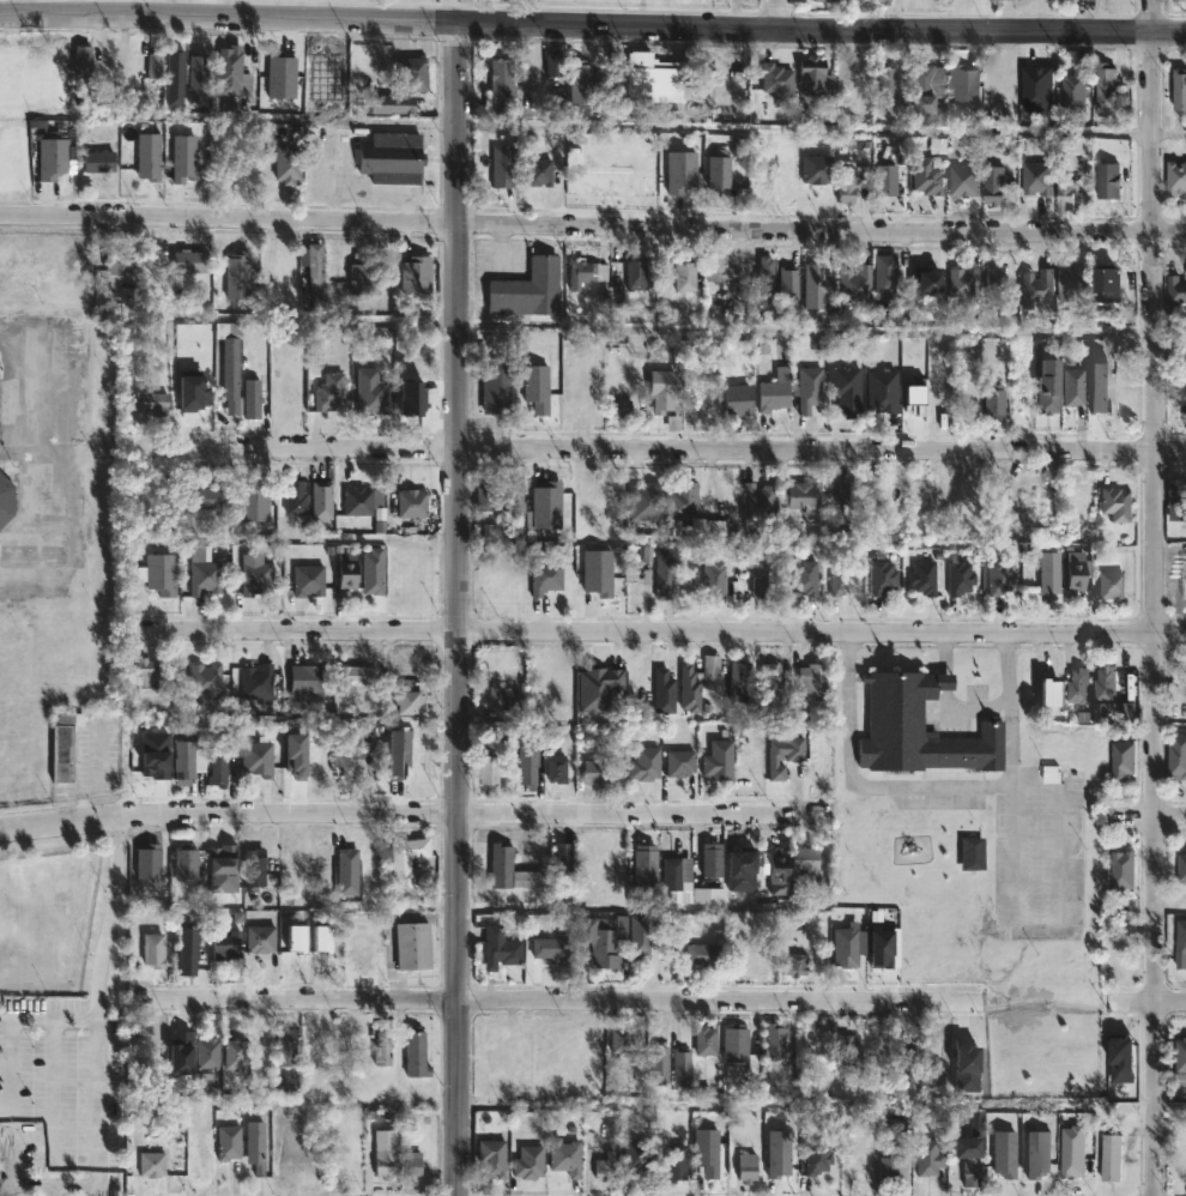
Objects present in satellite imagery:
building: (998, 0)
building: (1180, 0)
building: (829, 1)
building: (884, 2)
road: (24, 6)
road: (102, 6)
road: (140, 6)
road: (736, 14)
road: (777, 14)
road: (592, 24)
building: (81, 59)
building: (114, 59)
building: (156, 62)
building: (553, 62)
building: (234, 71)
building: (283, 72)
building: (327, 72)
building: (818, 75)
building: (176, 77)
building: (415, 77)
building: (652, 77)
building: (198, 78)
building: (585, 80)
building: (889, 83)
building: (967, 84)
building: (1033, 86)
building: (1102, 86)
building: (502, 87)
building: (1178, 87)
building: (1071, 90)
building: (931, 91)
building: (392, 103)
road: (1168, 133)
building: (149, 156)
building: (52, 157)
building: (184, 157)
building: (393, 157)
building: (99, 161)
building: (289, 163)
building: (504, 165)
parking lot: (346, 168)
building: (821, 168)
building: (677, 169)
parking lot: (606, 170)
building: (540, 171)
building: (721, 171)
building: (925, 175)
building: (891, 177)
building: (1034, 177)
building: (1174, 177)
building: (1103, 180)
building: (962, 181)
building: (849, 182)
building: (991, 185)
building: (1063, 194)
road: (592, 225)
building: (117, 259)
building: (193, 260)
building: (721, 270)
building: (316, 271)
building: (887, 271)
building: (588, 272)
building: (417, 273)
building: (640, 273)
building: (992, 273)
building: (237, 276)
building: (688, 276)
building: (367, 277)
building: (285, 278)
building: (933, 279)
building: (1102, 279)
building: (1069, 280)
building: (767, 282)
building: (962, 282)
building: (859, 284)
building: (819, 285)
building: (792, 286)
building: (527, 288)
building: (1035, 289)
building: (1173, 295)
road: (806, 331)
road: (1169, 332)
building: (230, 362)
building: (843, 386)
building: (1046, 386)
building: (1101, 386)
building: (1071, 387)
building: (541, 388)
building: (807, 388)
building: (502, 389)
building: (665, 389)
building: (775, 389)
building: (329, 392)
building: (370, 392)
building: (914, 393)
building: (885, 394)
building: (1181, 397)
building: (252, 399)
building: (738, 399)
building: (1123, 400)
building: (206, 401)
building: (155, 403)
building: (993, 405)
building: (622, 409)
road: (660, 448)
road: (32, 454)
building: (921, 484)
building: (896, 489)
building: (483, 494)
building: (799, 494)
building: (295, 495)
building: (957, 496)
building: (999, 497)
building: (212, 499)
building: (7, 500)
building: (323, 500)
building: (683, 500)
building: (757, 500)
building: (645, 501)
building: (254, 502)
building: (512, 502)
building: (1111, 502)
building: (1175, 502)
building: (412, 503)
building: (546, 503)
building: (367, 506)
building: (839, 507)
building: (641, 557)
building: (347, 569)
building: (598, 569)
building: (664, 570)
building: (1043, 570)
building: (373, 572)
building: (1069, 572)
building: (162, 573)
building: (205, 573)
building: (1079, 573)
building: (545, 575)
building: (804, 575)
building: (1182, 575)
building: (648, 576)
building: (841, 576)
building: (882, 576)
building: (918, 576)
building: (954, 576)
building: (993, 576)
building: (256, 578)
building: (715, 579)
building: (308, 580)
building: (1106, 584)
building: (762, 585)
building: (400, 586)
road: (1152, 598)
road: (462, 608)
road: (662, 632)
road: (945, 652)
road: (1008, 662)
building: (689, 671)
building: (714, 671)
building: (664, 672)
building: (146, 676)
building: (353, 677)
building: (205, 679)
building: (743, 679)
building: (773, 679)
building: (815, 679)
building: (307, 681)
building: (259, 682)
road: (945, 682)
building: (1076, 685)
building: (1102, 685)
building: (609, 693)
building: (507, 699)
building: (410, 701)
road: (973, 708)
building: (920, 727)
building: (62, 745)
building: (351, 754)
building: (155, 755)
building: (200, 756)
building: (798, 756)
building: (1175, 756)
building: (259, 757)
building: (1119, 757)
building: (184, 759)
building: (683, 761)
building: (718, 761)
building: (648, 762)
building: (530, 768)
building: (559, 768)
building: (490, 769)
building: (597, 769)
building: (219, 771)
road: (900, 785)
road: (415, 811)
road: (1170, 815)
building: (969, 852)
parking lot: (1039, 852)
building: (564, 857)
building: (714, 858)
building: (407, 860)
building: (186, 863)
building: (648, 863)
building: (150, 864)
building: (798, 864)
building: (1181, 866)
building: (224, 868)
building: (254, 868)
building: (513, 868)
building: (1119, 869)
building: (347, 871)
building: (746, 871)
building: (613, 872)
building: (674, 872)
road: (1060, 913)
building: (262, 937)
building: (616, 937)
building: (297, 938)
building: (323, 938)
building: (1179, 941)
building: (504, 943)
building: (853, 944)
building: (226, 946)
building: (413, 946)
building: (553, 947)
building: (885, 947)
building: (153, 949)
building: (187, 950)
building: (364, 953)
building: (707, 953)
building: (758, 962)
building: (799, 964)
road: (561, 998)
road: (1170, 1002)
road: (97, 1004)
building: (622, 1037)
building: (708, 1039)
building: (780, 1041)
building: (740, 1043)
building: (315, 1044)
building: (805, 1044)
building: (382, 1046)
building: (284, 1047)
building: (494, 1051)
building: (180, 1052)
building: (418, 1052)
building: (855, 1052)
building: (208, 1053)
building: (235, 1053)
building: (936, 1055)
building: (1179, 1055)
building: (908, 1057)
road: (10, 1059)
building: (664, 1065)
building: (972, 1067)
building: (684, 1069)
parking lot: (63, 1097)
road: (54, 1107)
building: (816, 1123)
building: (228, 1142)
building: (256, 1146)
building: (966, 1147)
building: (1072, 1152)
building: (386, 1153)
building: (639, 1154)
building: (1005, 1154)
building: (1039, 1154)
building: (568, 1155)
building: (818, 1156)
building: (931, 1156)
building: (495, 1158)
building: (719, 1158)
building: (1111, 1159)
building: (788, 1160)
building: (860, 1160)
building: (531, 1161)
building: (678, 1162)
building: (152, 1164)
building: (412, 1164)
building: (708, 1165)
building: (750, 1166)
building: (890, 1167)
building: (606, 1171)
road: (44, 1184)

